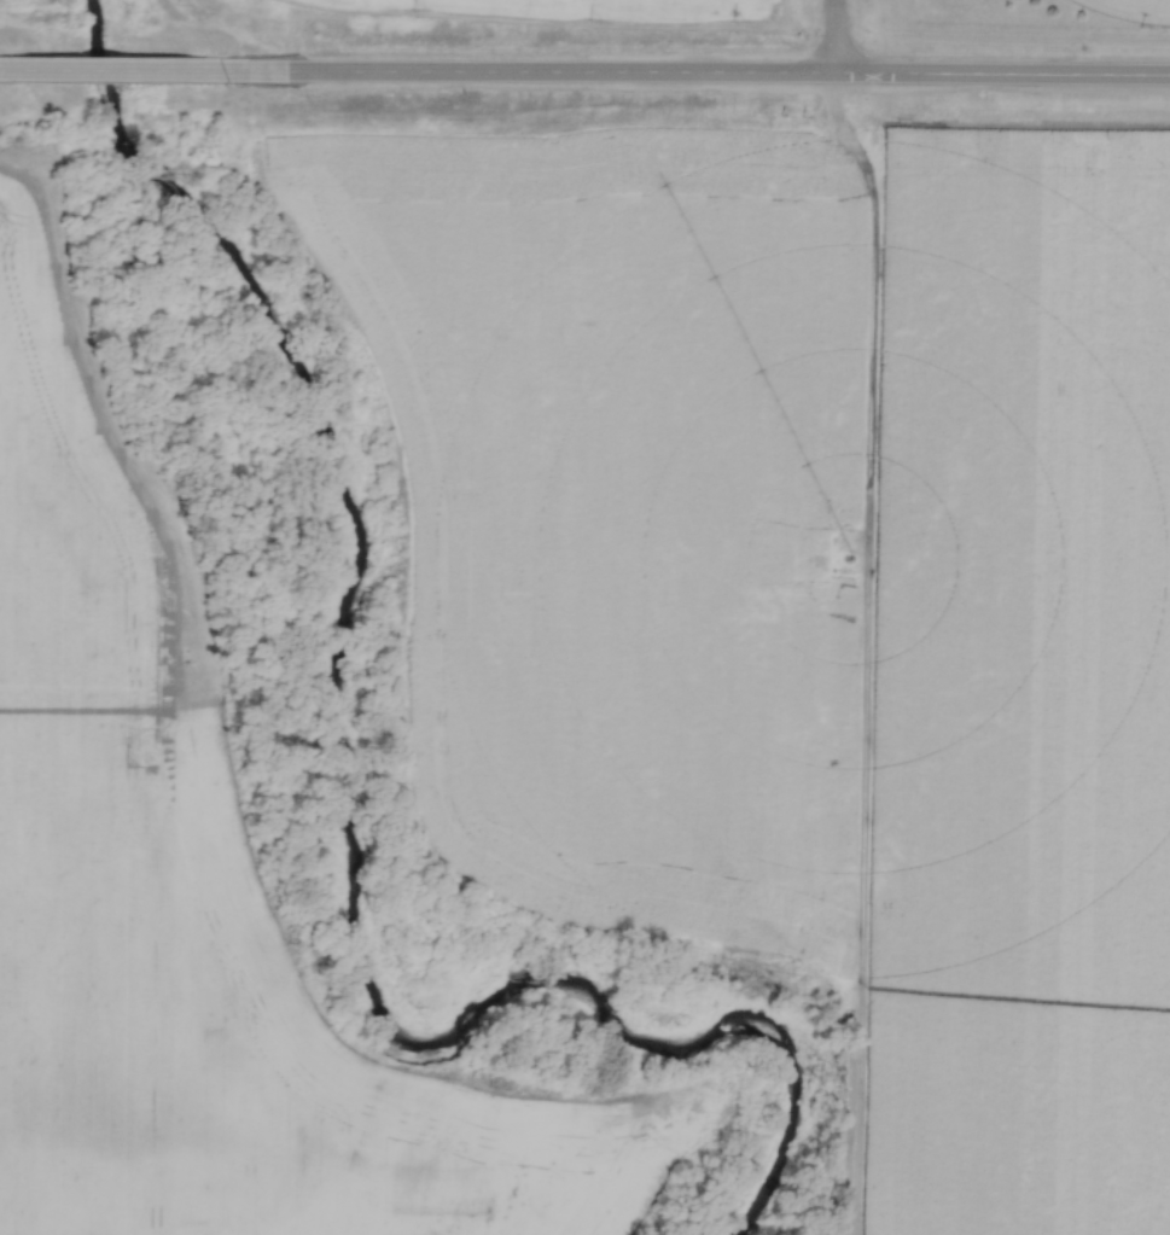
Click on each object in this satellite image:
crop: (660, 6)
park: (1131, 10)
road: (837, 36)
road: (100, 69)
road: (685, 72)
crop: (1008, 677)
river: (351, 815)
crop: (193, 922)

